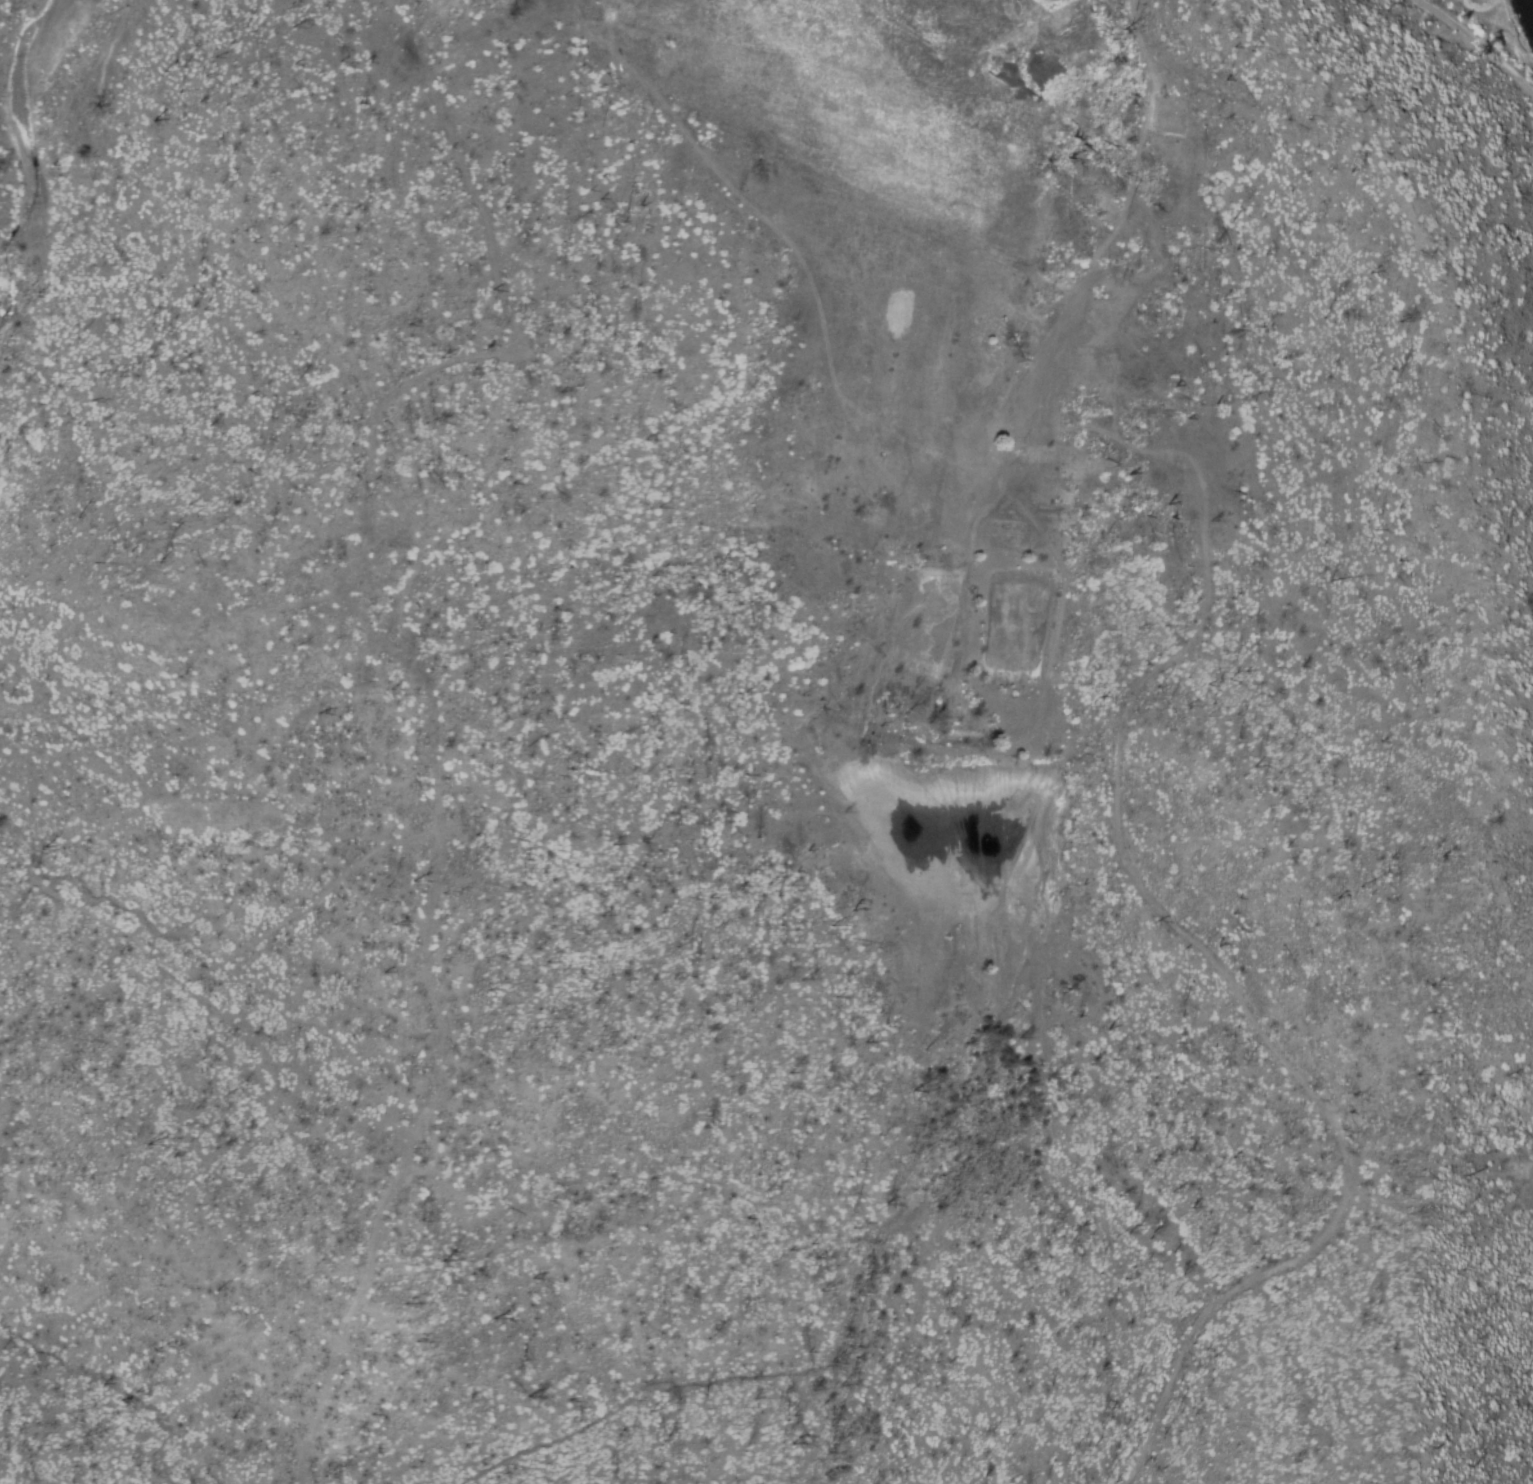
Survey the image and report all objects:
road: (1123, 24)
road: (1459, 28)
road: (1515, 76)
road: (411, 668)
road: (1115, 789)
road: (216, 963)

